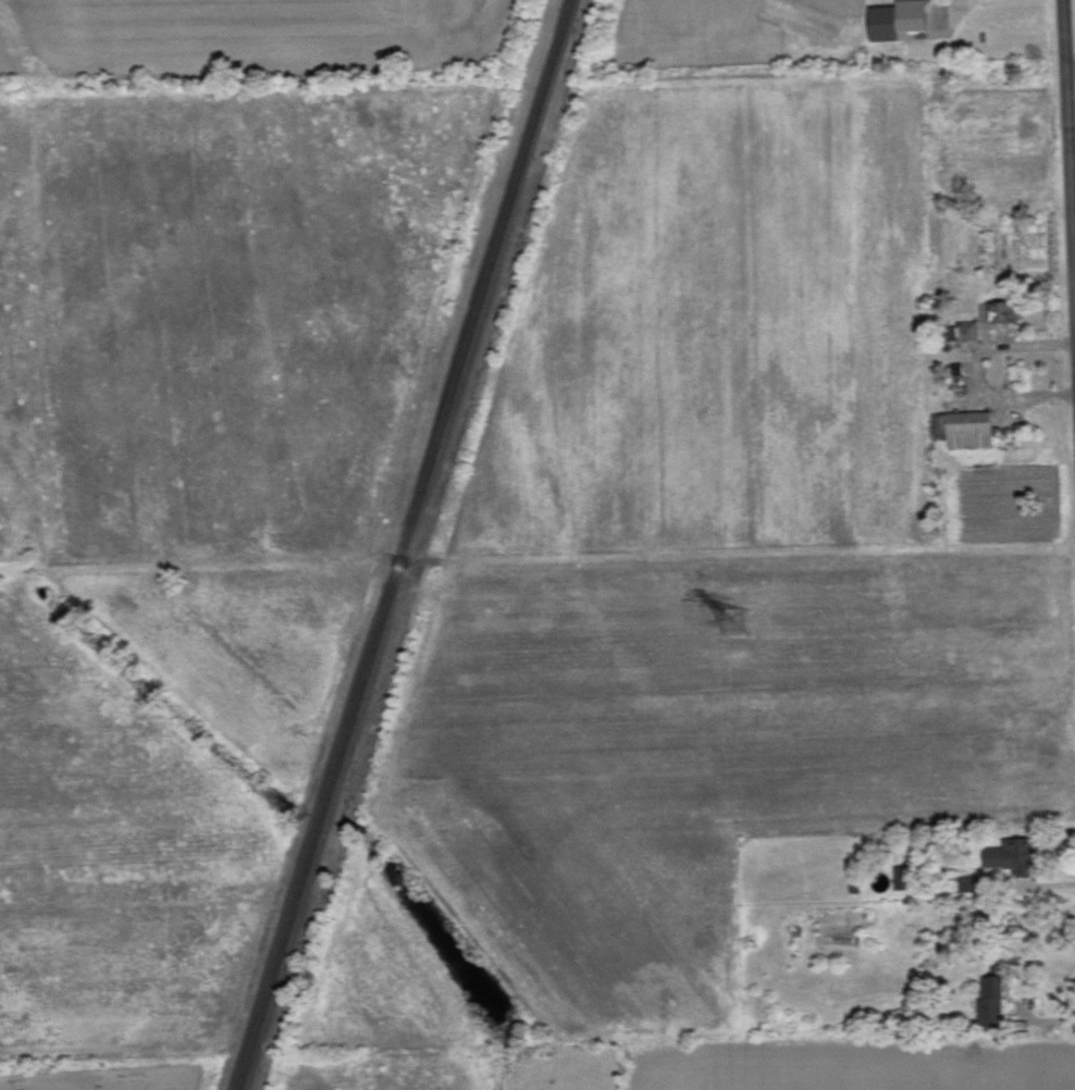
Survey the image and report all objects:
building: (901, 18)
road: (1072, 71)
road: (1071, 103)
building: (1001, 311)
building: (969, 331)
building: (966, 429)
railway: (390, 545)
power tower: (736, 619)
building: (1014, 854)
building: (905, 876)
building: (973, 882)
building: (994, 994)

